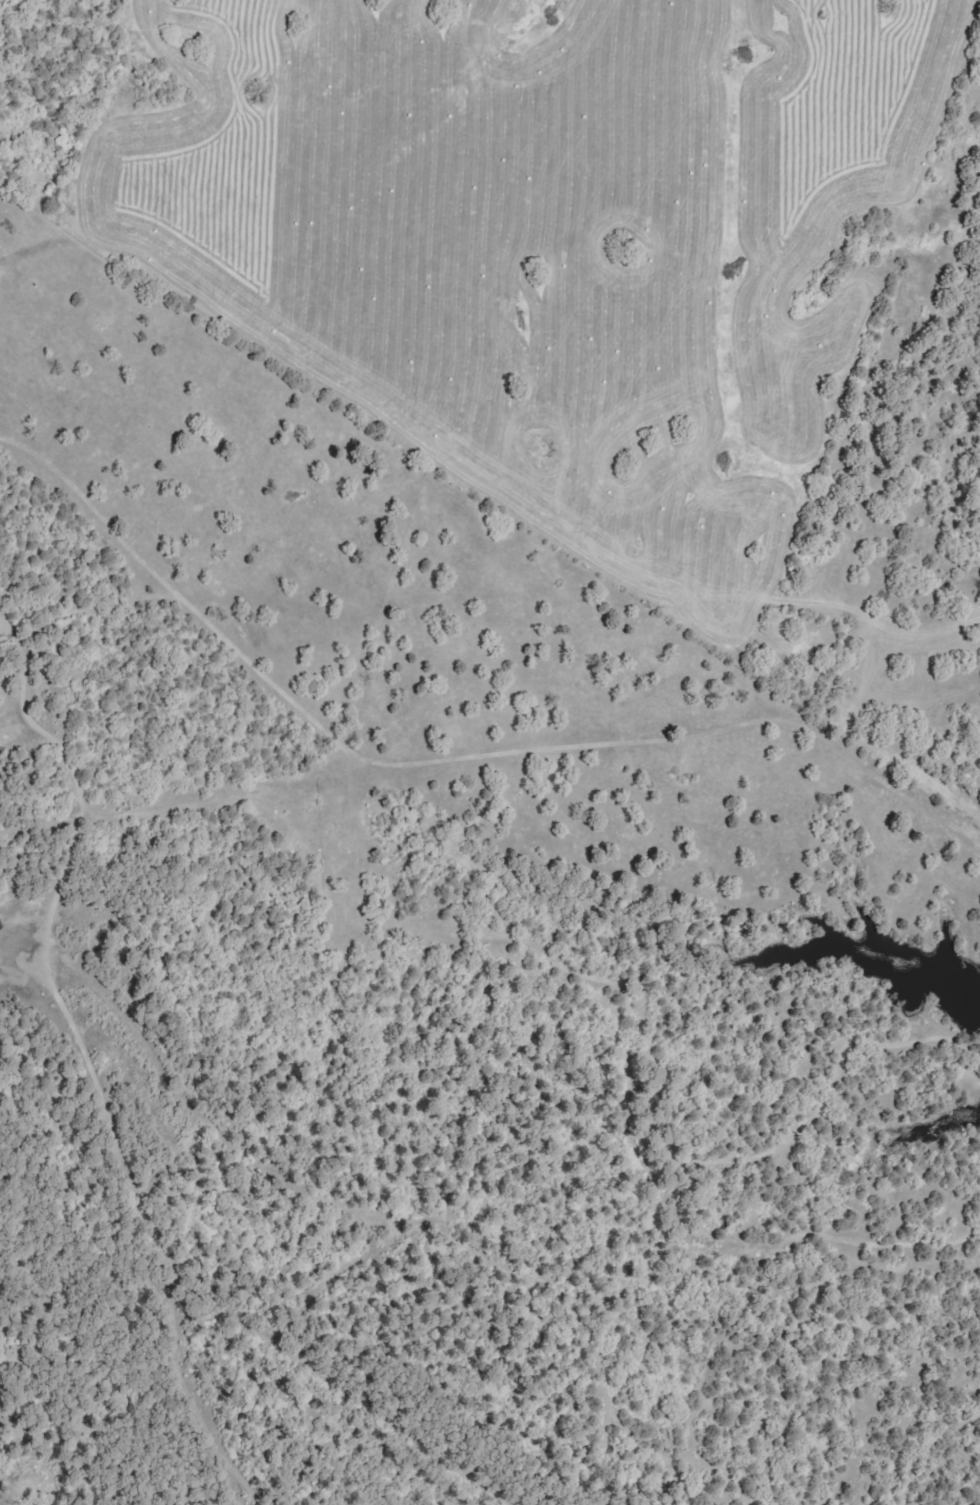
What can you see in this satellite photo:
road: (490, 612)
road: (69, 856)
road: (429, 1459)

